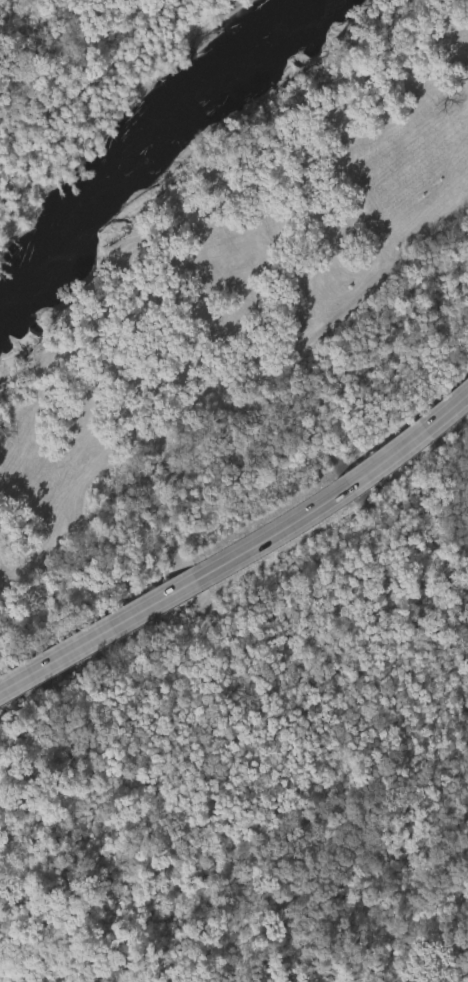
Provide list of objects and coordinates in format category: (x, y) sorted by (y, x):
river: (138, 164)
road: (354, 484)
road: (115, 625)

